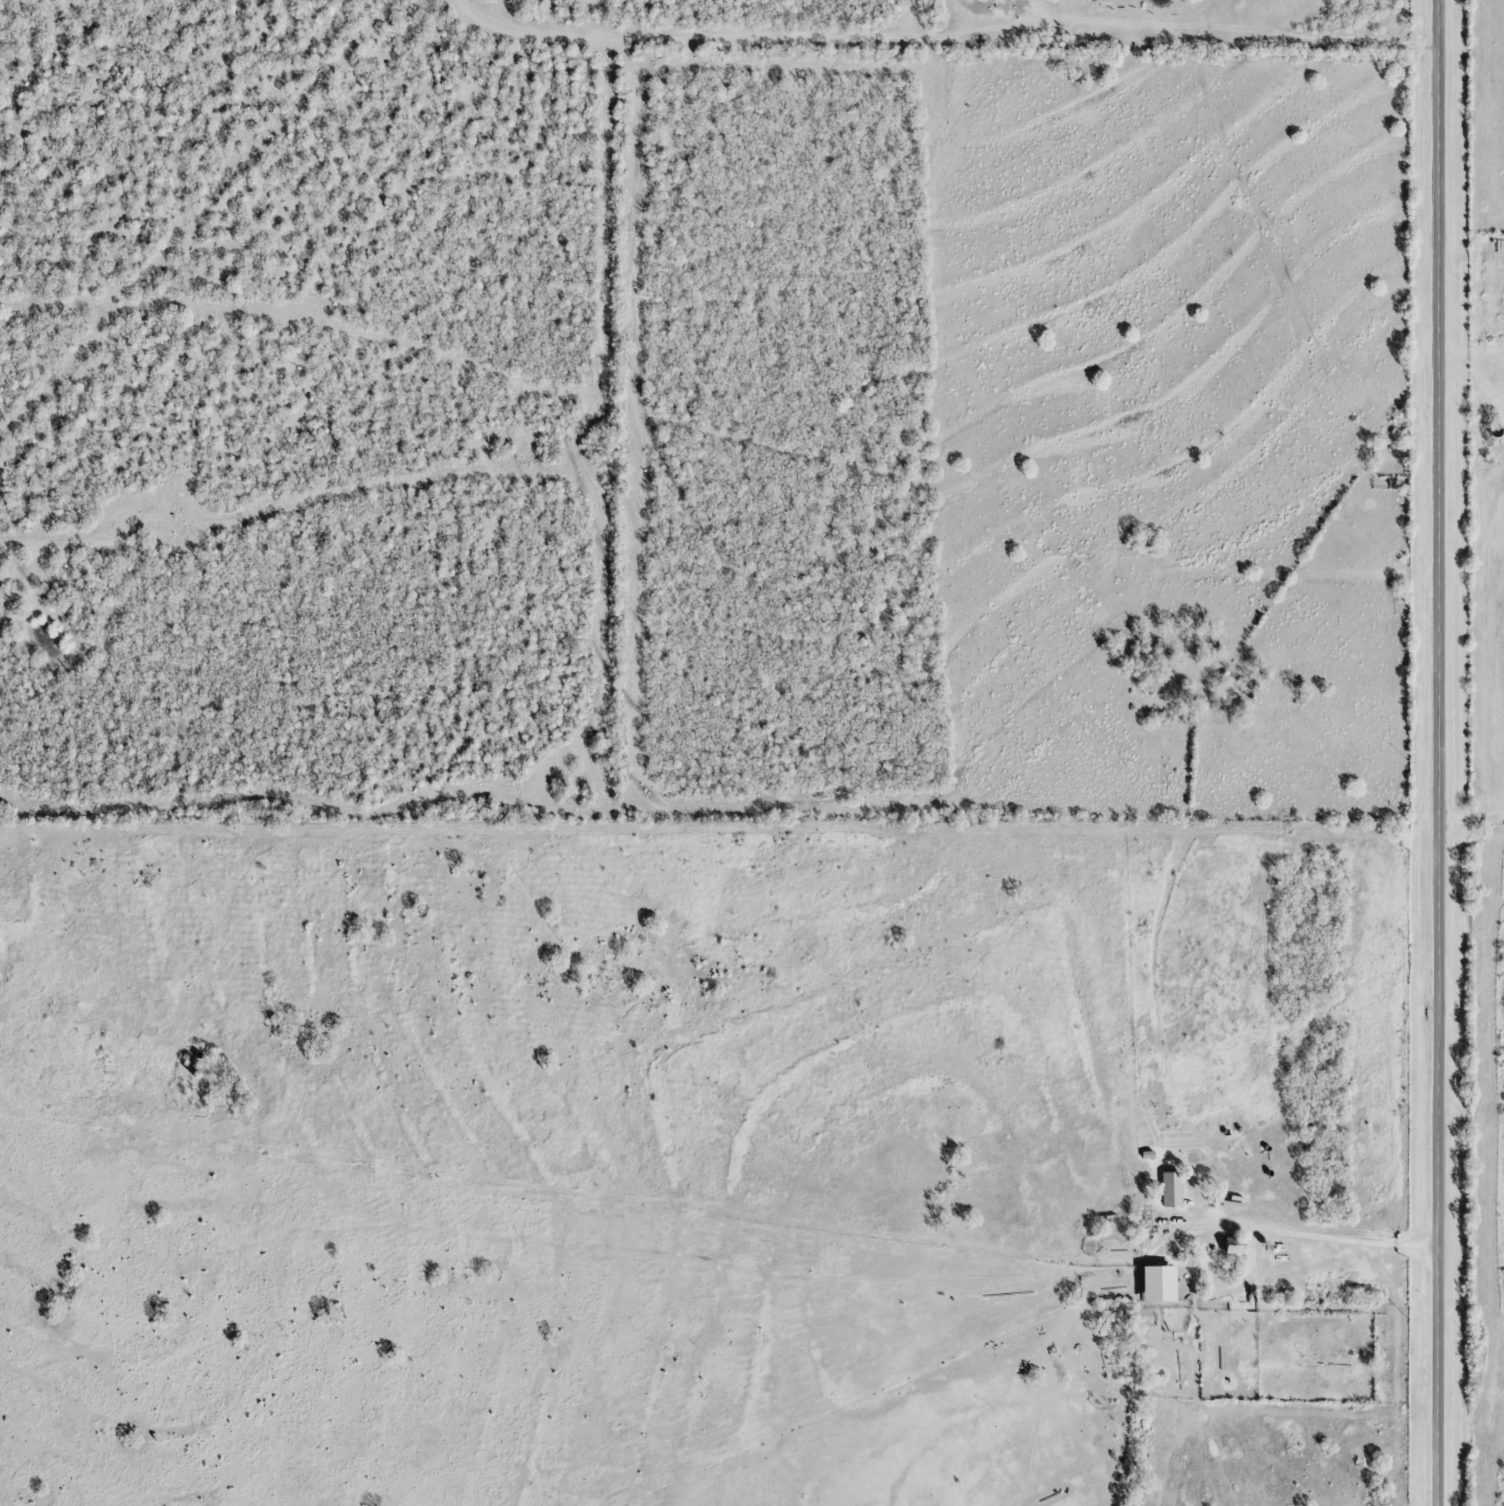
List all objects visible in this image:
road: (1437, 752)
building: (1171, 1187)
road: (1304, 1232)
building: (1232, 1243)
building: (1159, 1282)

